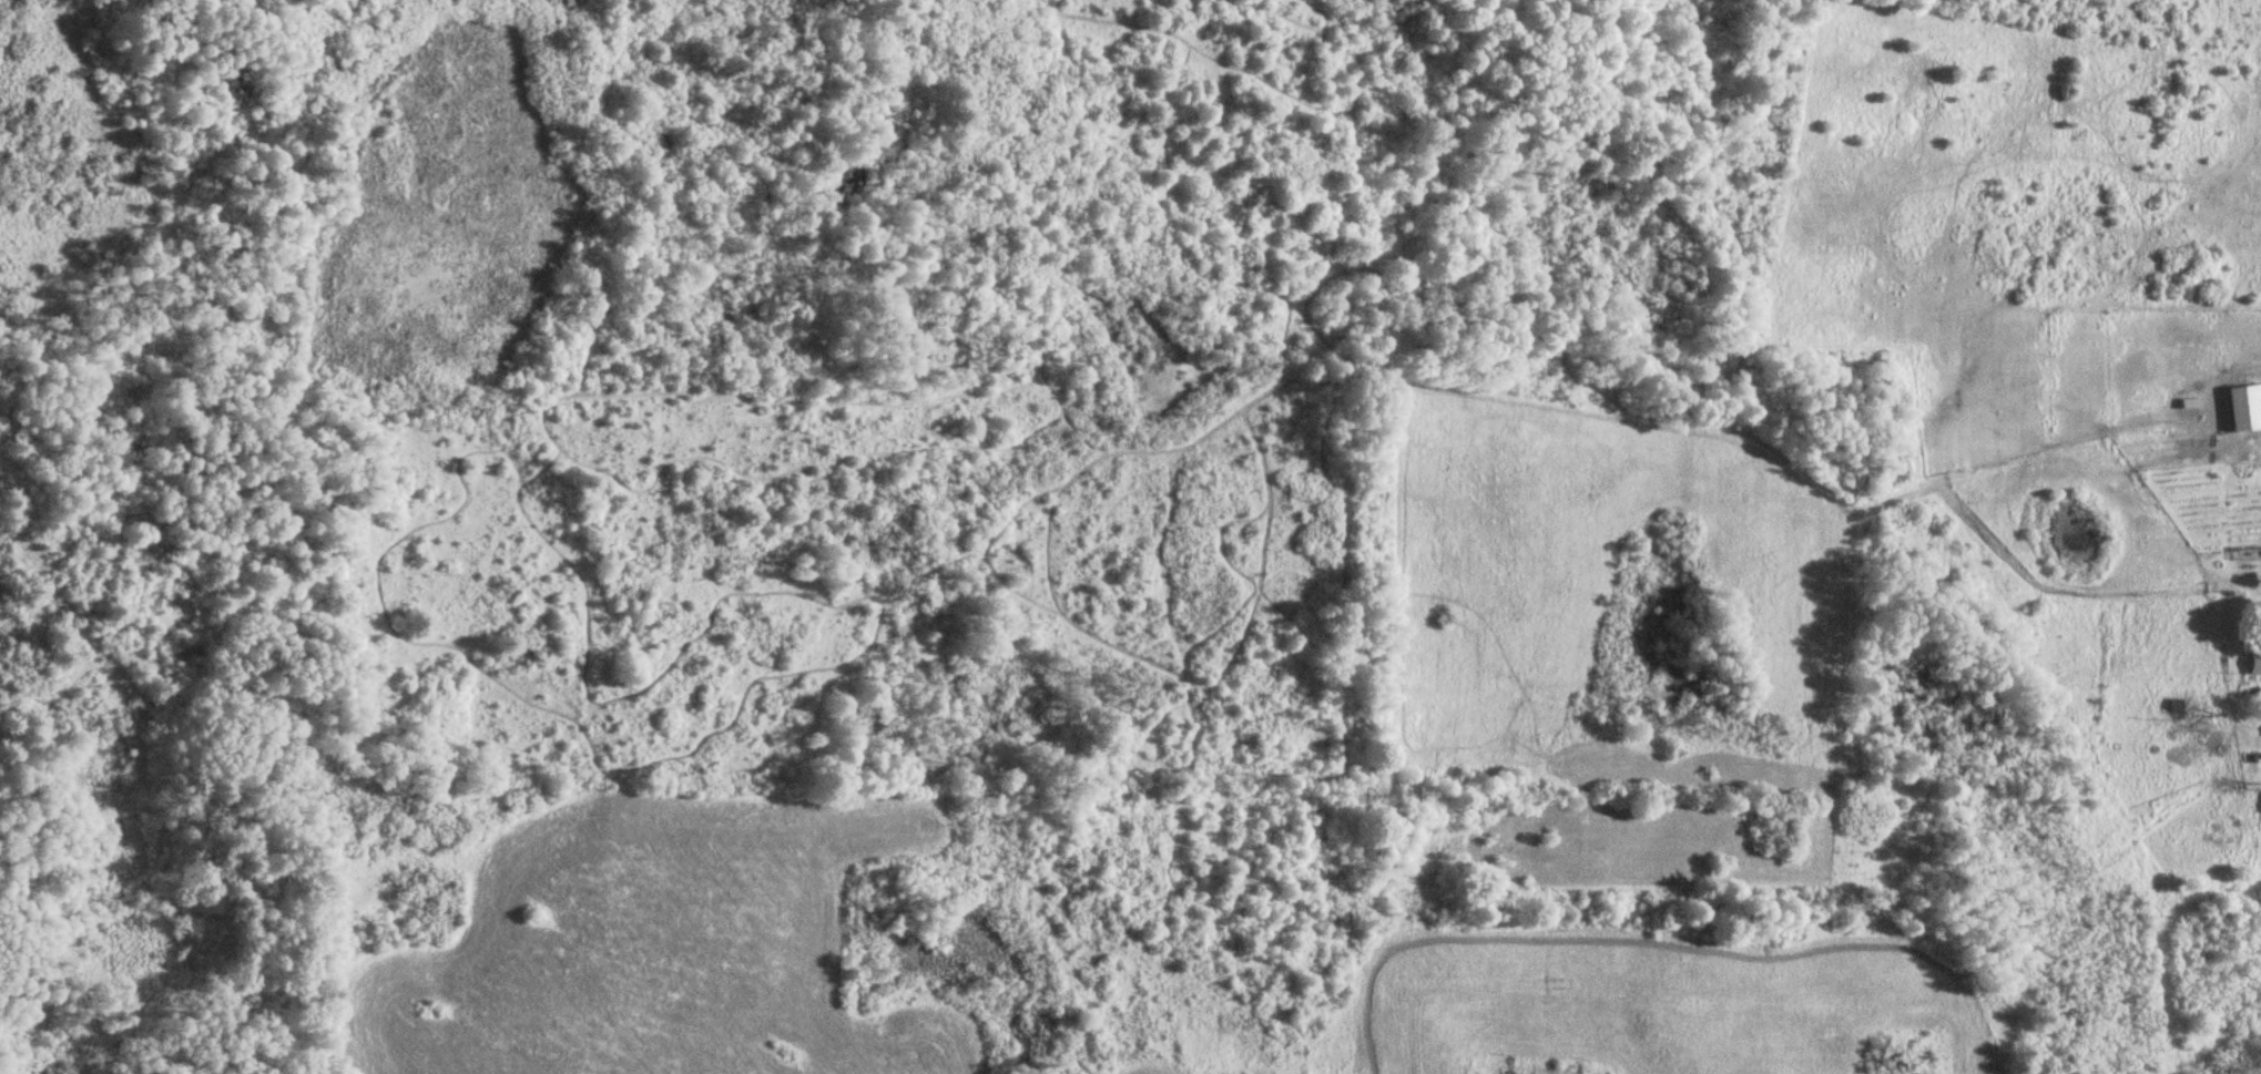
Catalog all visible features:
building: (2254, 663)
building: (2214, 745)

